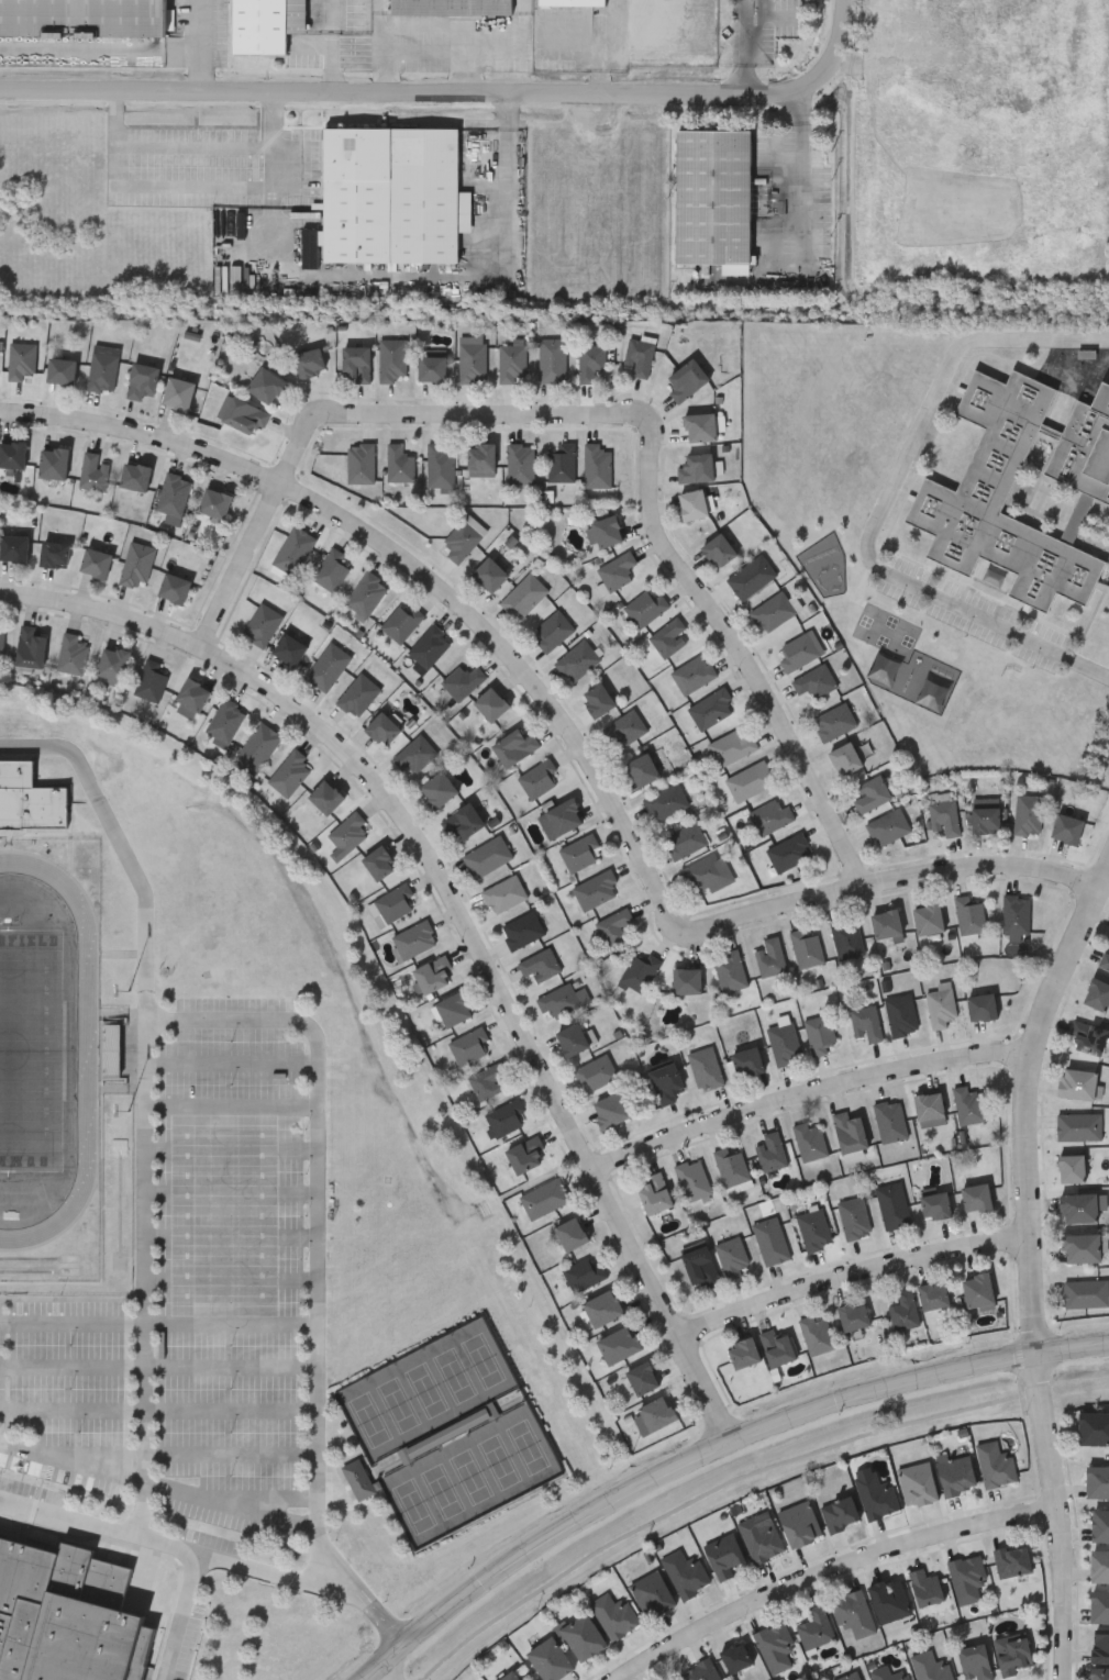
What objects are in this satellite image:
building: (572, 1)
building: (452, 7)
building: (84, 16)
road: (332, 16)
building: (266, 23)
road: (838, 38)
road: (199, 44)
road: (591, 47)
road: (333, 62)
road: (412, 89)
road: (195, 146)
road: (802, 162)
road: (508, 181)
road: (195, 186)
building: (390, 196)
building: (713, 197)
building: (641, 357)
building: (393, 359)
building: (473, 359)
building: (22, 360)
building: (553, 360)
building: (592, 361)
building: (512, 363)
building: (310, 364)
building: (357, 364)
building: (104, 368)
building: (433, 369)
building: (62, 372)
building: (906, 374)
building: (688, 381)
building: (144, 382)
building: (267, 387)
building: (179, 396)
building: (888, 410)
building: (244, 415)
road: (354, 418)
building: (701, 429)
building: (12, 456)
building: (481, 459)
building: (54, 464)
building: (363, 464)
building: (521, 464)
building: (563, 464)
building: (401, 465)
building: (442, 466)
building: (599, 467)
building: (698, 469)
building: (95, 472)
building: (136, 477)
building: (963, 492)
building: (175, 494)
road: (884, 501)
building: (694, 504)
building: (215, 505)
building: (605, 533)
building: (463, 541)
building: (14, 549)
building: (720, 550)
building: (296, 552)
building: (55, 555)
building: (97, 564)
building: (138, 565)
building: (333, 570)
building: (619, 571)
road: (423, 575)
building: (491, 576)
building: (753, 577)
building: (175, 589)
building: (368, 594)
building: (525, 597)
building: (647, 608)
building: (774, 612)
building: (403, 623)
building: (264, 625)
building: (555, 632)
building: (669, 637)
building: (2, 644)
building: (31, 648)
building: (430, 648)
road: (739, 648)
building: (290, 650)
building: (800, 653)
building: (74, 655)
building: (578, 661)
building: (113, 664)
building: (329, 667)
building: (695, 674)
building: (153, 681)
building: (464, 681)
building: (816, 681)
building: (193, 694)
building: (359, 696)
building: (598, 699)
building: (492, 703)
building: (712, 709)
building: (226, 721)
building: (835, 721)
building: (626, 727)
building: (384, 728)
building: (733, 745)
building: (515, 746)
building: (258, 749)
building: (417, 754)
building: (846, 758)
building: (643, 769)
building: (291, 772)
building: (539, 778)
building: (751, 780)
building: (439, 789)
building: (873, 793)
building: (328, 797)
building: (30, 799)
building: (667, 802)
building: (1030, 815)
building: (772, 816)
building: (945, 816)
building: (562, 817)
building: (986, 820)
building: (463, 822)
building: (889, 826)
building: (1068, 827)
building: (351, 832)
road: (119, 841)
building: (687, 841)
building: (790, 852)
building: (580, 853)
building: (488, 857)
building: (380, 863)
building: (705, 872)
road: (898, 875)
building: (598, 889)
building: (504, 894)
building: (393, 904)
road: (466, 913)
building: (1018, 914)
building: (971, 915)
building: (930, 917)
building: (888, 924)
building: (614, 926)
building: (523, 930)
building: (415, 938)
building: (849, 938)
building: (809, 948)
building: (772, 957)
building: (1106, 959)
building: (541, 965)
building: (731, 970)
building: (641, 972)
building: (433, 973)
building: (687, 980)
building: (1098, 994)
building: (564, 1000)
building: (942, 1005)
building: (983, 1006)
building: (454, 1008)
road: (249, 1014)
building: (902, 1015)
building: (867, 1022)
building: (822, 1035)
building: (1089, 1037)
building: (573, 1038)
building: (785, 1044)
building: (470, 1045)
park: (31, 1048)
track: (87, 1050)
road: (231, 1059)
building: (748, 1061)
building: (707, 1068)
building: (597, 1072)
building: (488, 1080)
building: (667, 1083)
building: (1080, 1084)
road: (808, 1094)
road: (231, 1103)
building: (969, 1105)
building: (610, 1110)
building: (931, 1110)
building: (507, 1116)
building: (891, 1121)
building: (1080, 1127)
building: (851, 1132)
building: (811, 1142)
road: (231, 1148)
building: (773, 1151)
building: (526, 1154)
building: (734, 1168)
building: (1073, 1168)
building: (695, 1179)
road: (231, 1188)
building: (655, 1194)
building: (545, 1198)
building: (978, 1198)
building: (895, 1206)
building: (936, 1206)
building: (1082, 1206)
building: (855, 1217)
building: (814, 1228)
road: (230, 1231)
building: (572, 1233)
building: (773, 1240)
building: (1085, 1247)
building: (733, 1257)
building: (702, 1267)
road: (1032, 1268)
road: (230, 1275)
building: (585, 1275)
road: (855, 1281)
building: (979, 1291)
building: (1087, 1293)
building: (934, 1295)
building: (603, 1308)
building: (906, 1310)
building: (854, 1315)
road: (71, 1320)
road: (230, 1323)
building: (818, 1334)
building: (620, 1344)
building: (778, 1347)
building: (745, 1351)
road: (71, 1365)
road: (228, 1366)
building: (643, 1378)
road: (71, 1406)
road: (229, 1408)
building: (656, 1414)
building: (1094, 1426)
road: (709, 1450)
road: (228, 1451)
building: (407, 1457)
road: (69, 1462)
building: (996, 1462)
building: (956, 1472)
building: (359, 1480)
building: (1097, 1480)
building: (918, 1481)
building: (876, 1493)
road: (223, 1501)
building: (840, 1510)
building: (799, 1522)
building: (1100, 1523)
building: (761, 1538)
building: (723, 1554)
road: (210, 1559)
building: (1013, 1559)
building: (1100, 1564)
building: (686, 1571)
road: (836, 1576)
building: (967, 1576)
building: (927, 1586)
building: (653, 1592)
building: (889, 1598)
building: (1100, 1604)
building: (853, 1612)
building: (614, 1613)
building: (67, 1614)
road: (188, 1618)
building: (816, 1626)
building: (583, 1635)
building: (775, 1645)
building: (1100, 1646)
building: (1013, 1653)
building: (736, 1655)
building: (550, 1658)
building: (975, 1660)
building: (931, 1666)
building: (702, 1670)
building: (890, 1673)
building: (1100, 1673)
road: (384, 1675)
building: (509, 1676)
building: (849, 1676)

